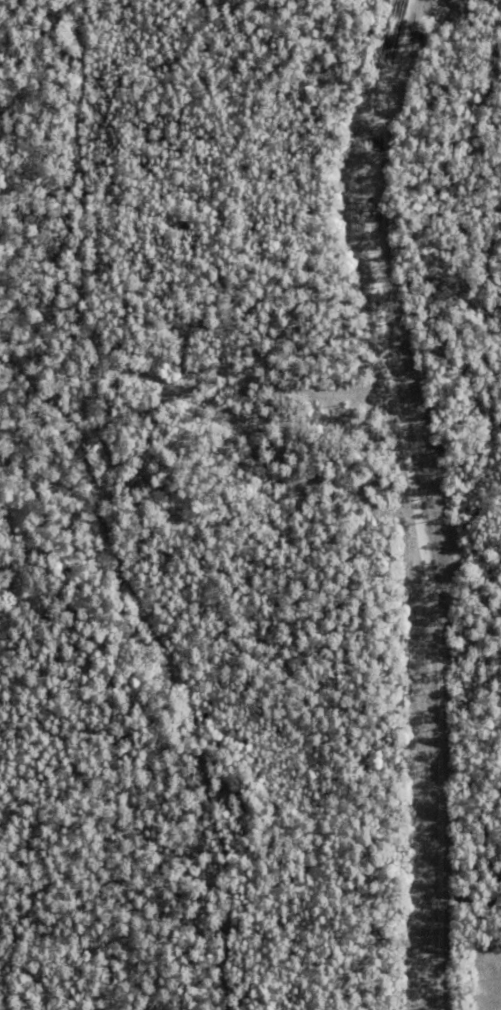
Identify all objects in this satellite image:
road: (412, 503)

